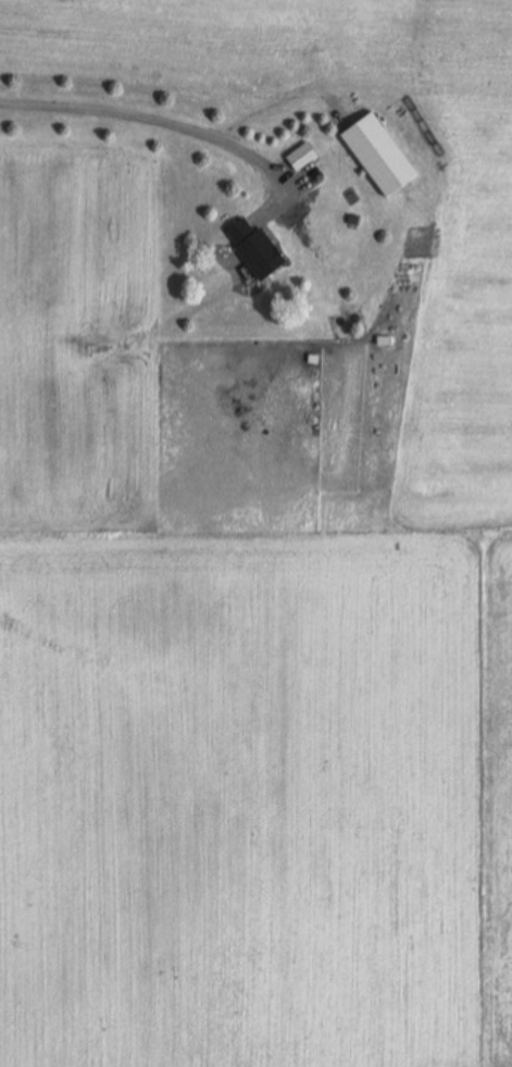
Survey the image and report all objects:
road: (150, 114)
building: (301, 158)
building: (384, 160)
building: (260, 255)

